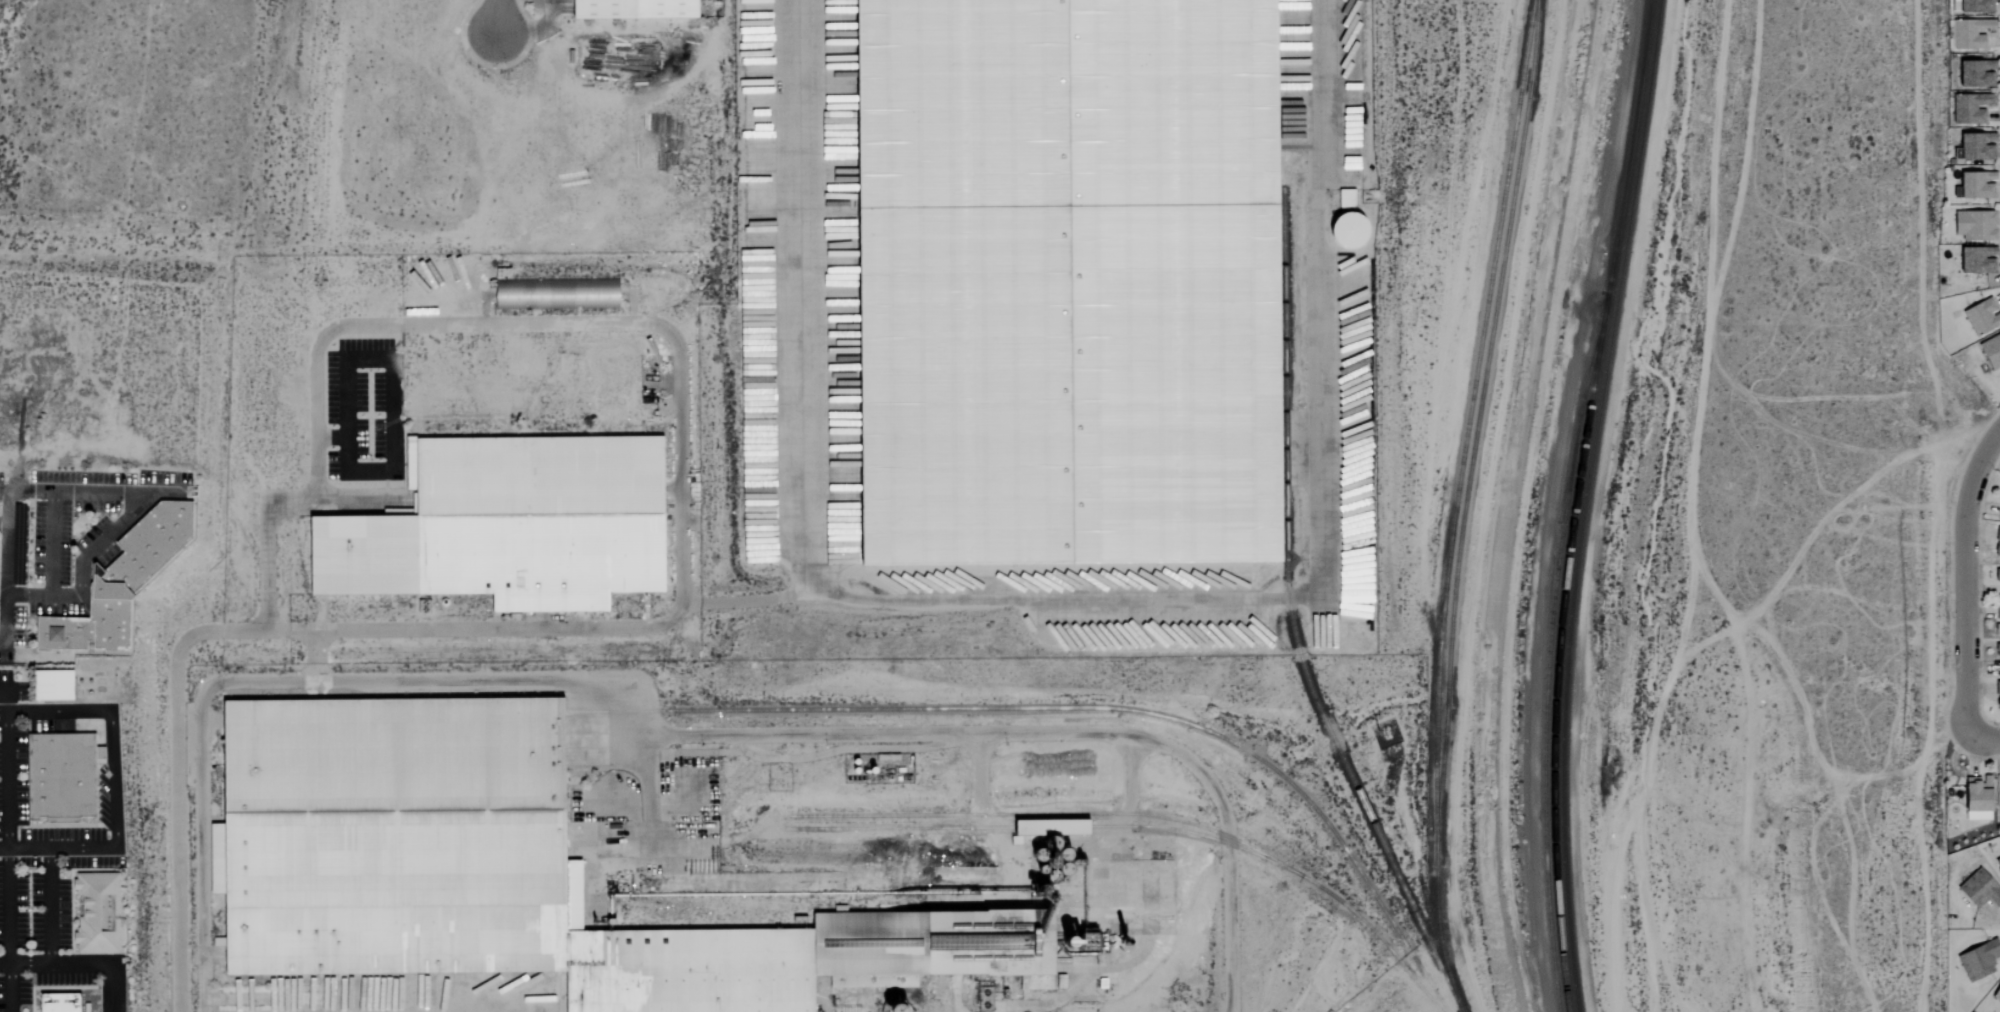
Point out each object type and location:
building: (1972, 7)
building: (634, 10)
road: (495, 18)
street lamp: (534, 19)
road: (533, 27)
building: (1967, 34)
street lamp: (503, 65)
building: (1973, 75)
building: (1971, 110)
building: (1974, 148)
building: (1974, 187)
building: (1344, 199)
building: (1973, 227)
building: (1340, 230)
storage tank: (1351, 232)
building: (1974, 262)
building: (1068, 283)
building: (551, 294)
building: (1980, 317)
building: (1990, 352)
road: (804, 355)
road: (391, 375)
railway: (1475, 427)
road: (269, 500)
railway: (1574, 504)
railway: (1583, 504)
railway: (1454, 505)
road: (1696, 507)
building: (510, 525)
road: (99, 542)
building: (1996, 543)
road: (6, 544)
road: (50, 545)
building: (1996, 575)
road: (1964, 580)
building: (120, 581)
building: (1997, 613)
railway: (1290, 619)
road: (647, 628)
building: (1999, 645)
railway: (1548, 650)
road: (314, 656)
road: (283, 681)
building: (52, 685)
building: (1996, 695)
road: (4, 699)
railway: (1074, 708)
road: (109, 729)
road: (1008, 733)
road: (1982, 736)
building: (64, 778)
road: (1128, 791)
road: (978, 792)
railway: (1151, 815)
building: (1975, 816)
railway: (1051, 826)
building: (1043, 828)
road: (24, 850)
road: (7, 861)
building: (1998, 861)
building: (505, 871)
building: (1977, 890)
building: (100, 912)
road: (48, 926)
building: (1977, 960)
road: (28, 964)
building: (1997, 998)
water tower: (895, 1010)

